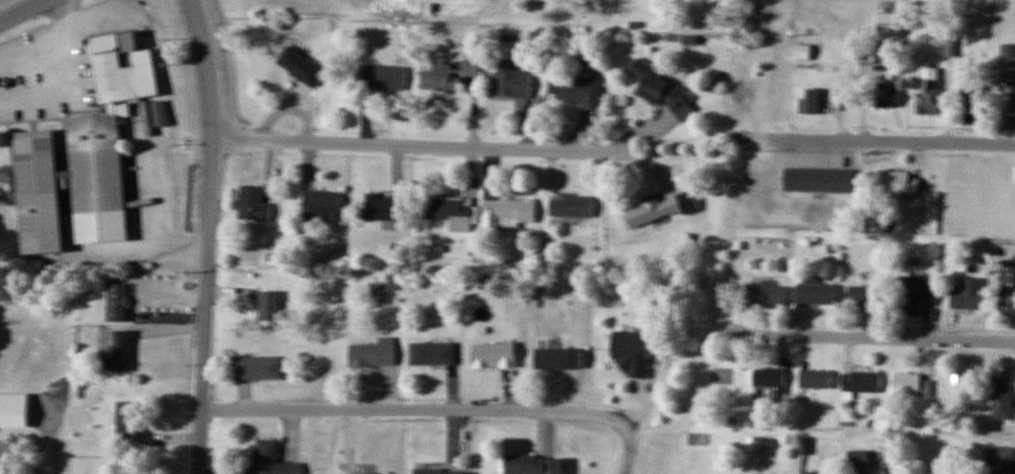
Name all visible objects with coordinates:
road: (21, 11)
building: (888, 23)
building: (870, 50)
building: (801, 51)
building: (297, 65)
building: (119, 68)
building: (448, 74)
building: (381, 77)
building: (509, 79)
building: (577, 89)
building: (660, 89)
building: (886, 94)
building: (972, 98)
building: (928, 100)
building: (813, 101)
building: (156, 121)
road: (896, 144)
road: (420, 148)
building: (821, 179)
building: (98, 180)
building: (899, 183)
building: (41, 192)
building: (249, 203)
building: (319, 205)
building: (570, 205)
building: (381, 207)
building: (660, 207)
building: (506, 212)
road: (203, 235)
building: (1008, 285)
building: (815, 294)
building: (915, 294)
building: (966, 294)
building: (768, 296)
building: (862, 297)
building: (114, 302)
building: (266, 305)
road: (883, 339)
building: (631, 352)
building: (119, 353)
building: (371, 353)
building: (431, 353)
building: (492, 355)
building: (557, 358)
building: (255, 367)
building: (814, 379)
building: (770, 381)
building: (860, 381)
building: (907, 384)
building: (1002, 397)
building: (16, 409)
road: (434, 411)
building: (124, 421)
building: (270, 460)
building: (1000, 460)
building: (858, 461)
building: (538, 465)
building: (439, 471)
building: (362, 473)
building: (816, 473)

